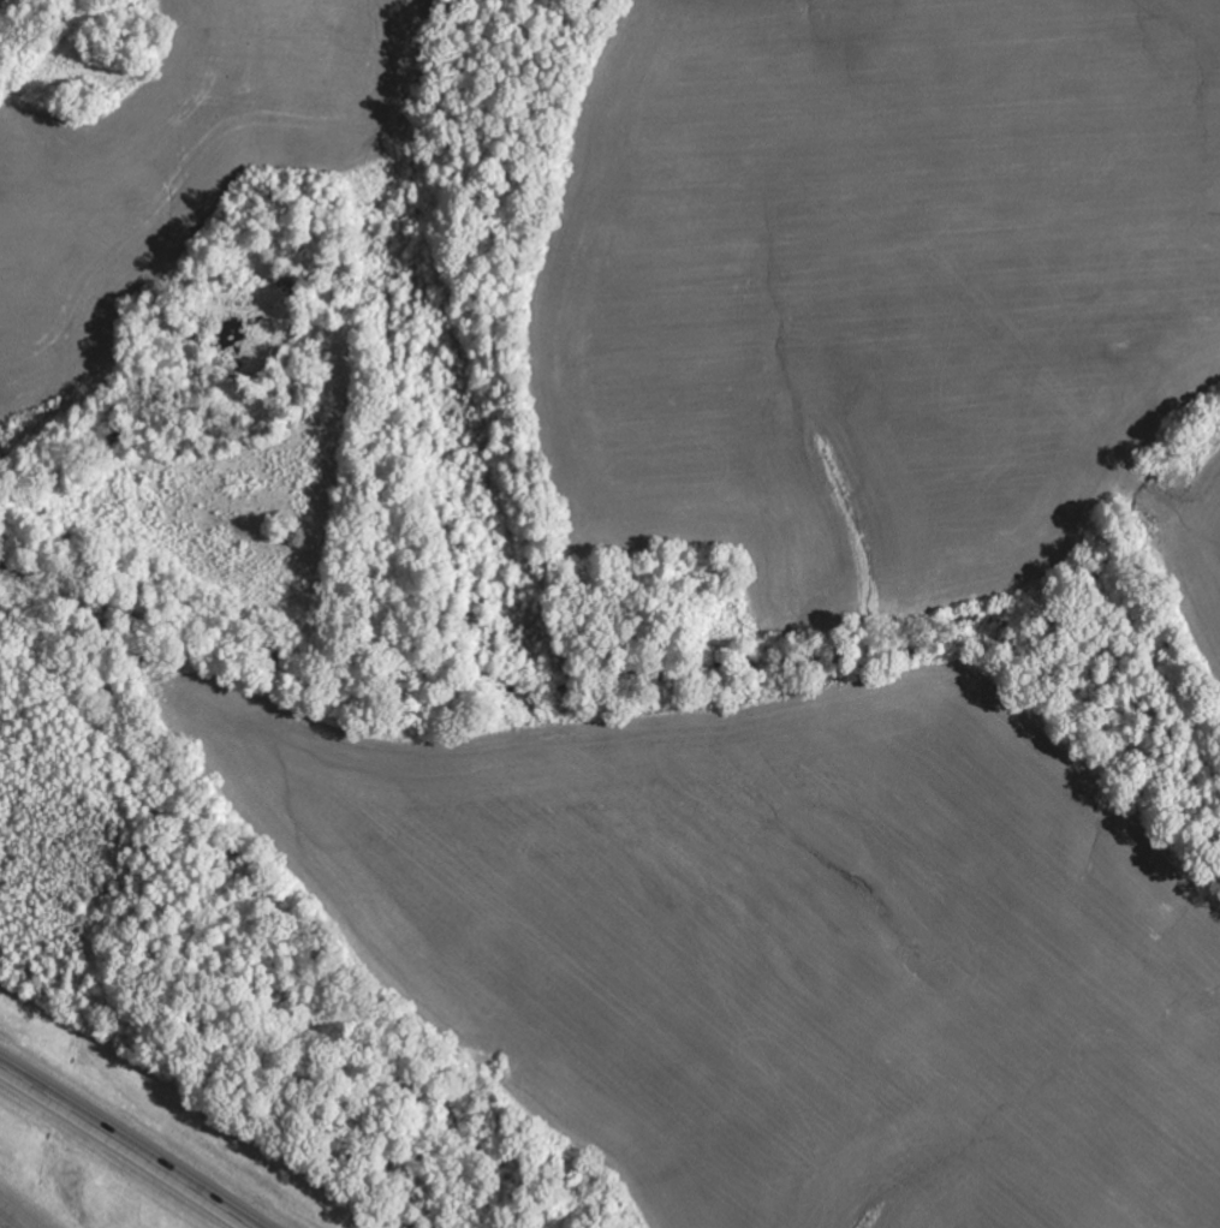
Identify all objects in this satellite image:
road: (125, 1147)
road: (12, 1218)

